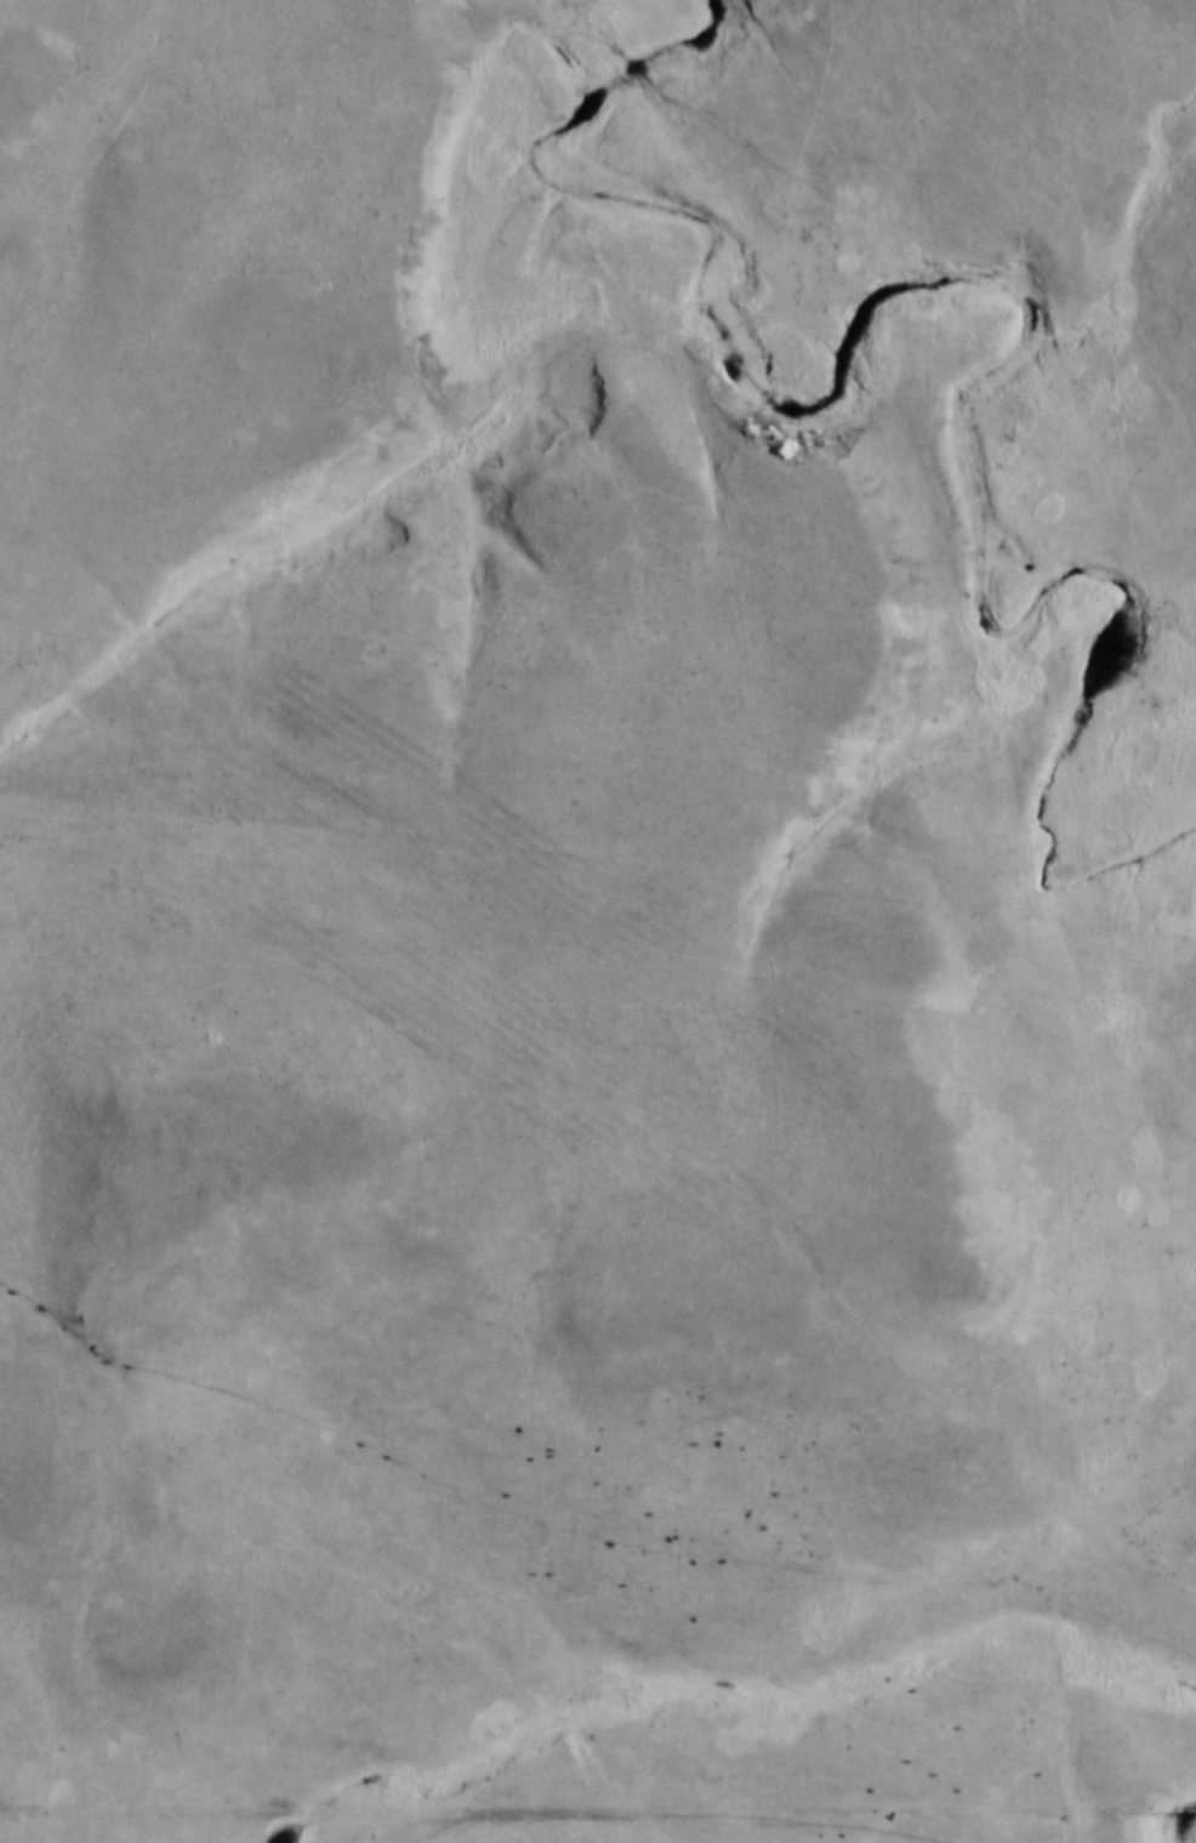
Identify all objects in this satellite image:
road: (1192, 1591)

